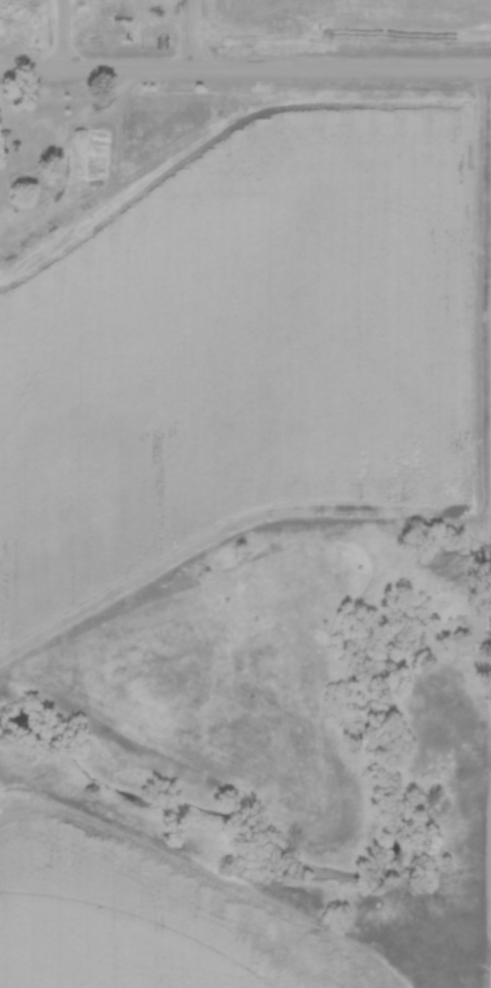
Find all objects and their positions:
road: (65, 34)
road: (194, 34)
road: (245, 67)
building: (28, 155)
crop: (238, 348)
crop: (489, 451)

